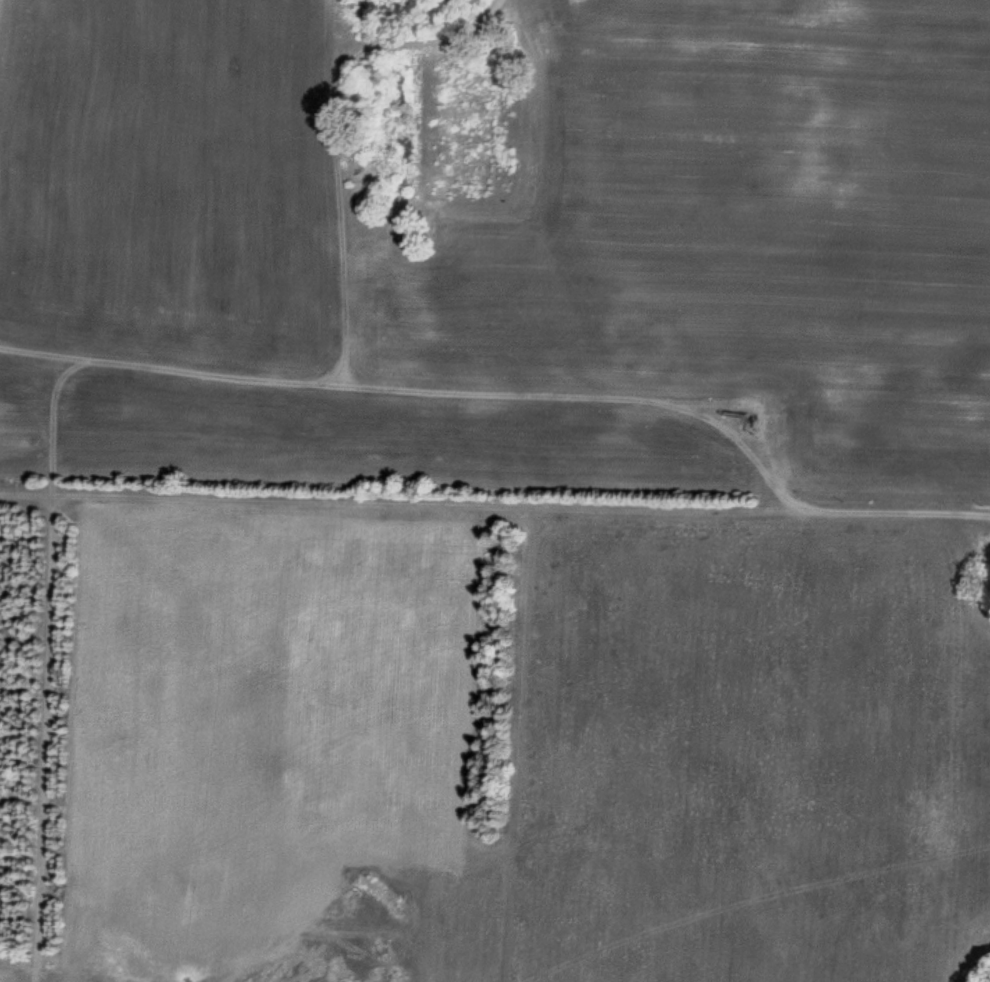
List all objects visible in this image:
road: (543, 358)
road: (89, 663)
road: (345, 666)

